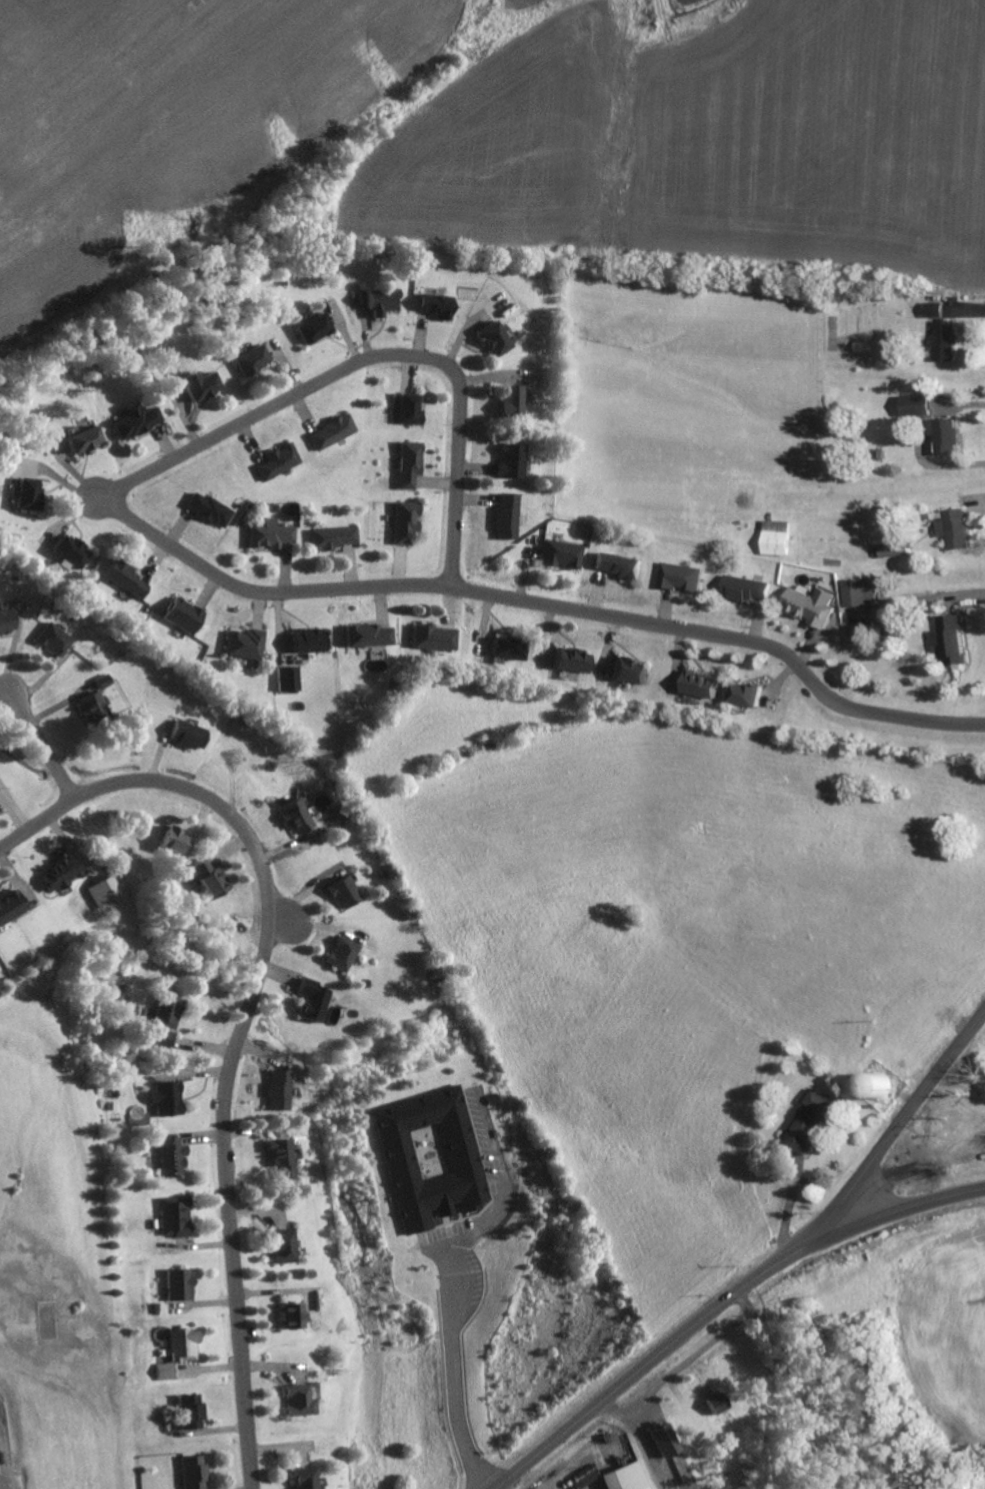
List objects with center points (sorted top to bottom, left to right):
building: (378, 301)
building: (432, 305)
building: (932, 309)
building: (312, 327)
building: (490, 338)
building: (942, 340)
road: (382, 357)
building: (249, 359)
building: (198, 384)
building: (507, 400)
building: (914, 404)
building: (406, 408)
building: (132, 420)
building: (330, 432)
building: (942, 434)
building: (81, 439)
building: (509, 460)
building: (277, 461)
building: (406, 464)
road: (944, 465)
building: (23, 493)
building: (207, 509)
building: (504, 516)
building: (402, 521)
building: (953, 528)
building: (268, 534)
building: (332, 537)
building: (774, 537)
building: (891, 549)
building: (68, 551)
building: (557, 554)
building: (613, 565)
building: (678, 576)
building: (125, 578)
building: (743, 588)
building: (857, 592)
road: (538, 602)
building: (807, 605)
road: (924, 605)
building: (180, 615)
building: (6, 621)
building: (852, 633)
building: (364, 635)
building: (430, 637)
building: (52, 639)
building: (304, 640)
building: (950, 640)
building: (243, 643)
building: (504, 648)
building: (567, 660)
building: (626, 671)
building: (286, 678)
building: (102, 681)
building: (695, 684)
building: (741, 693)
building: (91, 703)
building: (184, 734)
road: (44, 746)
building: (293, 816)
building: (171, 841)
building: (55, 872)
building: (206, 879)
building: (340, 892)
building: (9, 904)
building: (339, 953)
building: (309, 1000)
road: (243, 1017)
building: (160, 1018)
building: (870, 1084)
building: (272, 1090)
building: (159, 1098)
building: (809, 1120)
road: (902, 1128)
building: (167, 1157)
building: (426, 1157)
building: (274, 1159)
building: (170, 1217)
building: (276, 1246)
building: (174, 1285)
road: (721, 1305)
building: (285, 1316)
building: (181, 1344)
road: (685, 1362)
building: (163, 1371)
road: (784, 1389)
road: (459, 1392)
building: (291, 1401)
building: (712, 1401)
road: (611, 1407)
building: (188, 1412)
building: (659, 1438)
road: (646, 1449)
building: (190, 1472)
building: (620, 1477)
building: (297, 1478)
road: (498, 1488)

